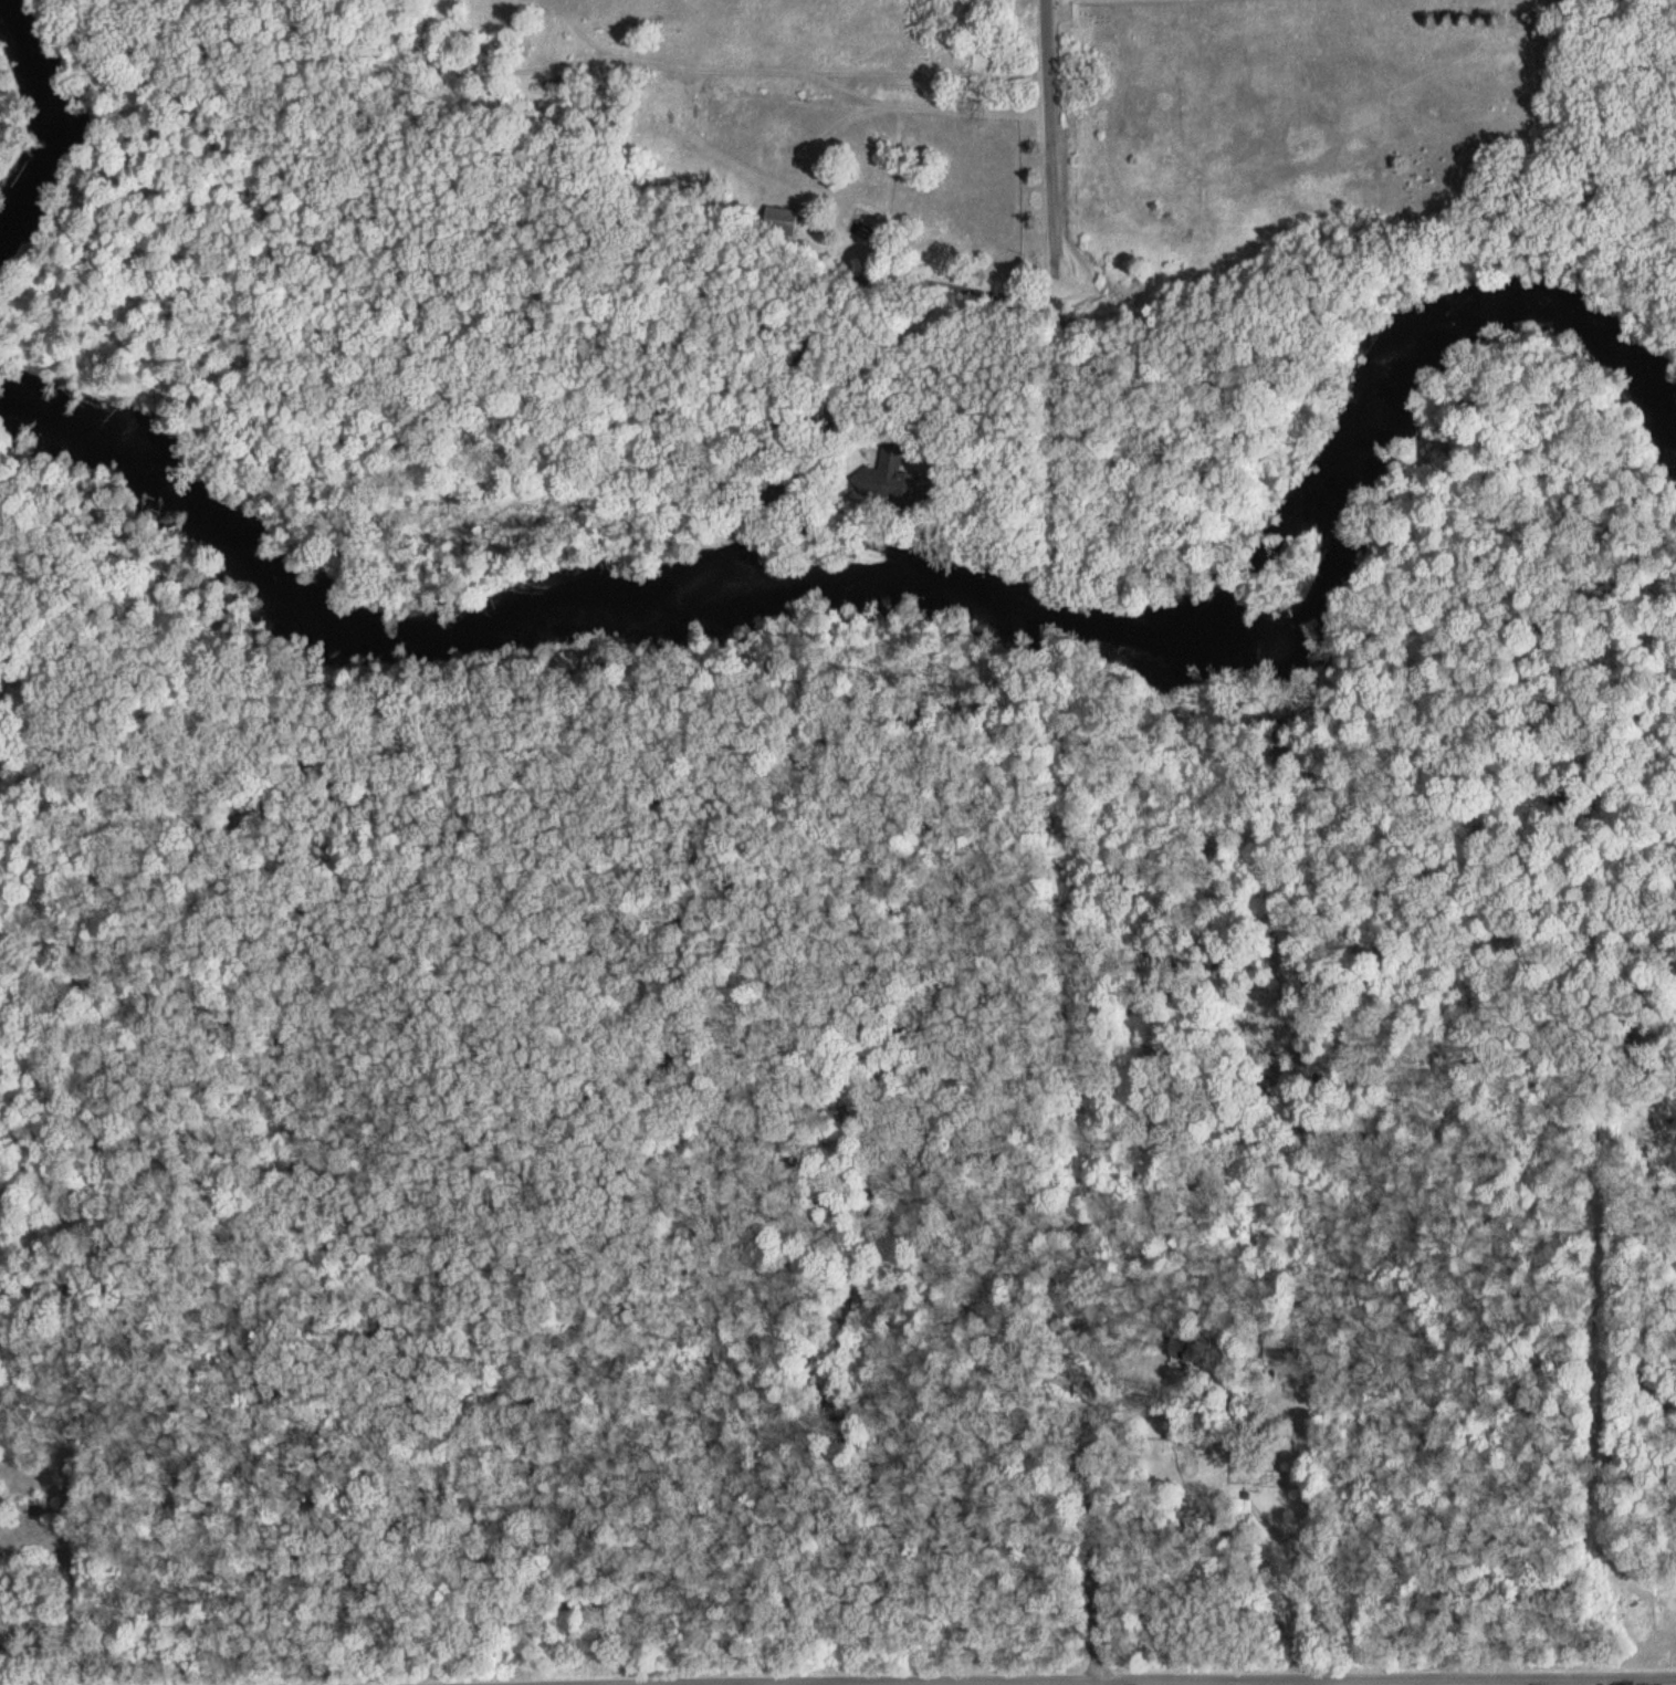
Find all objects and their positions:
road: (88, 27)
river: (44, 112)
road: (1049, 149)
building: (779, 219)
road: (930, 323)
building: (882, 479)
river: (908, 586)
road: (1071, 1176)
building: (1277, 1347)
building: (30, 1515)
road: (83, 1570)
road: (1050, 1679)
road: (1359, 1681)
road: (1588, 1681)
road: (714, 1682)
road: (1091, 1682)
road: (600, 1683)

